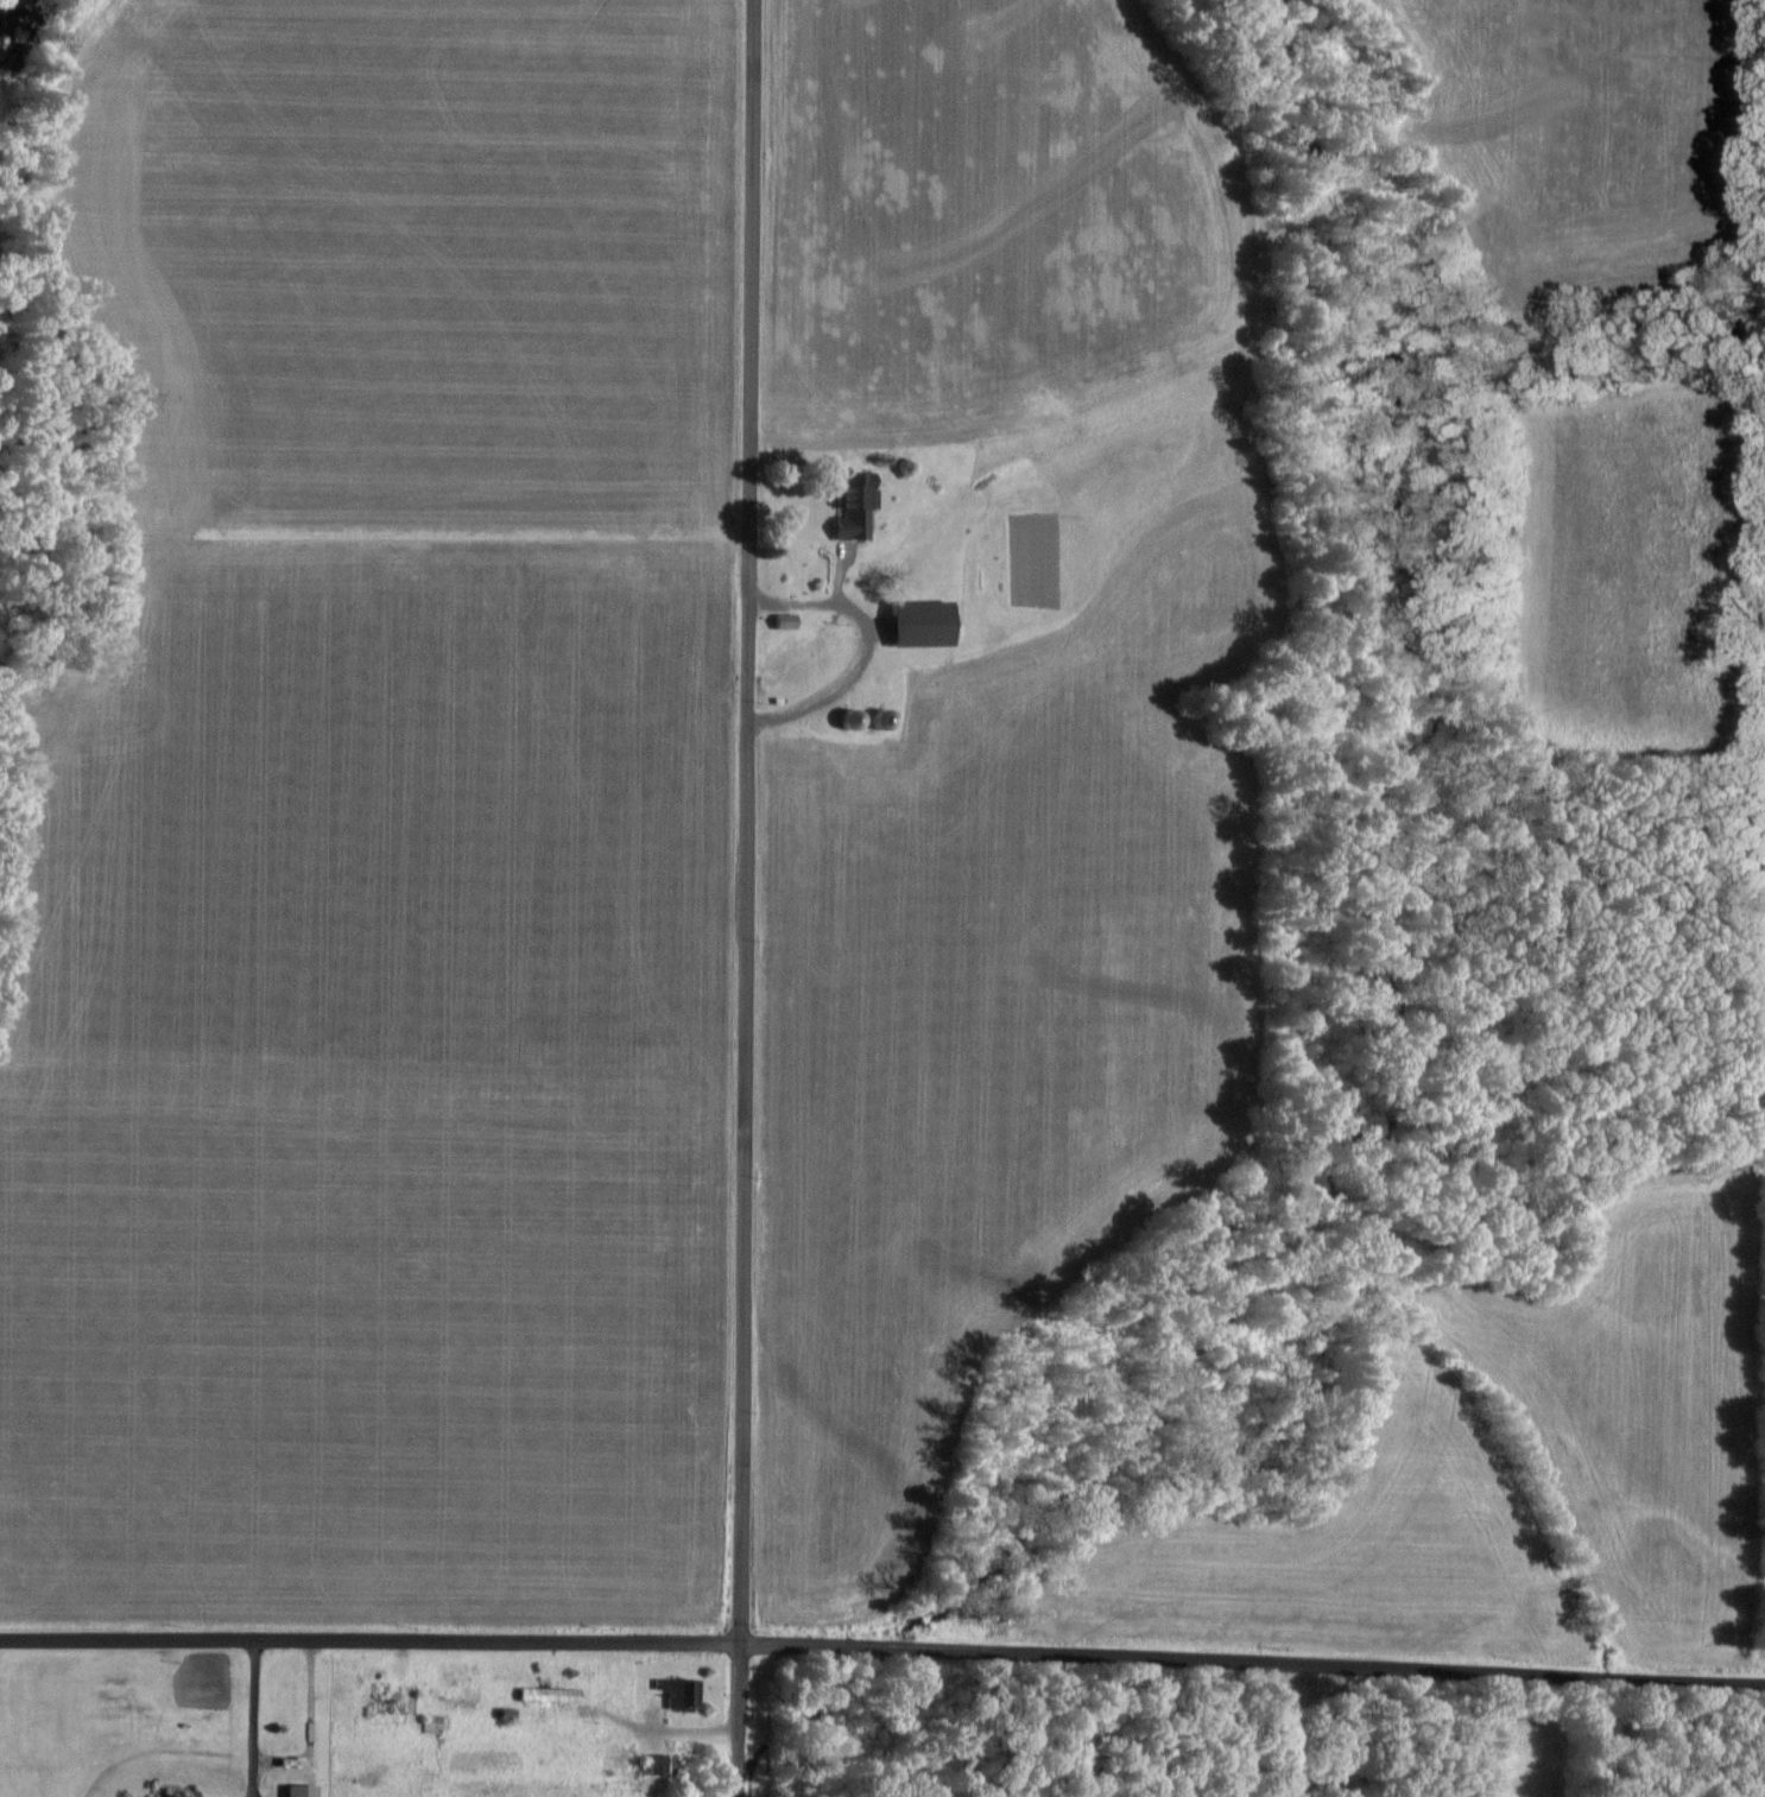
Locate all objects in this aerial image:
building: (860, 505)
building: (790, 621)
building: (929, 624)
road: (866, 646)
building: (860, 717)
building: (891, 719)
road: (745, 898)
road: (883, 1646)
building: (684, 1692)
building: (553, 1695)
road: (257, 1719)
building: (658, 1764)
building: (308, 1791)
building: (178, 1796)

